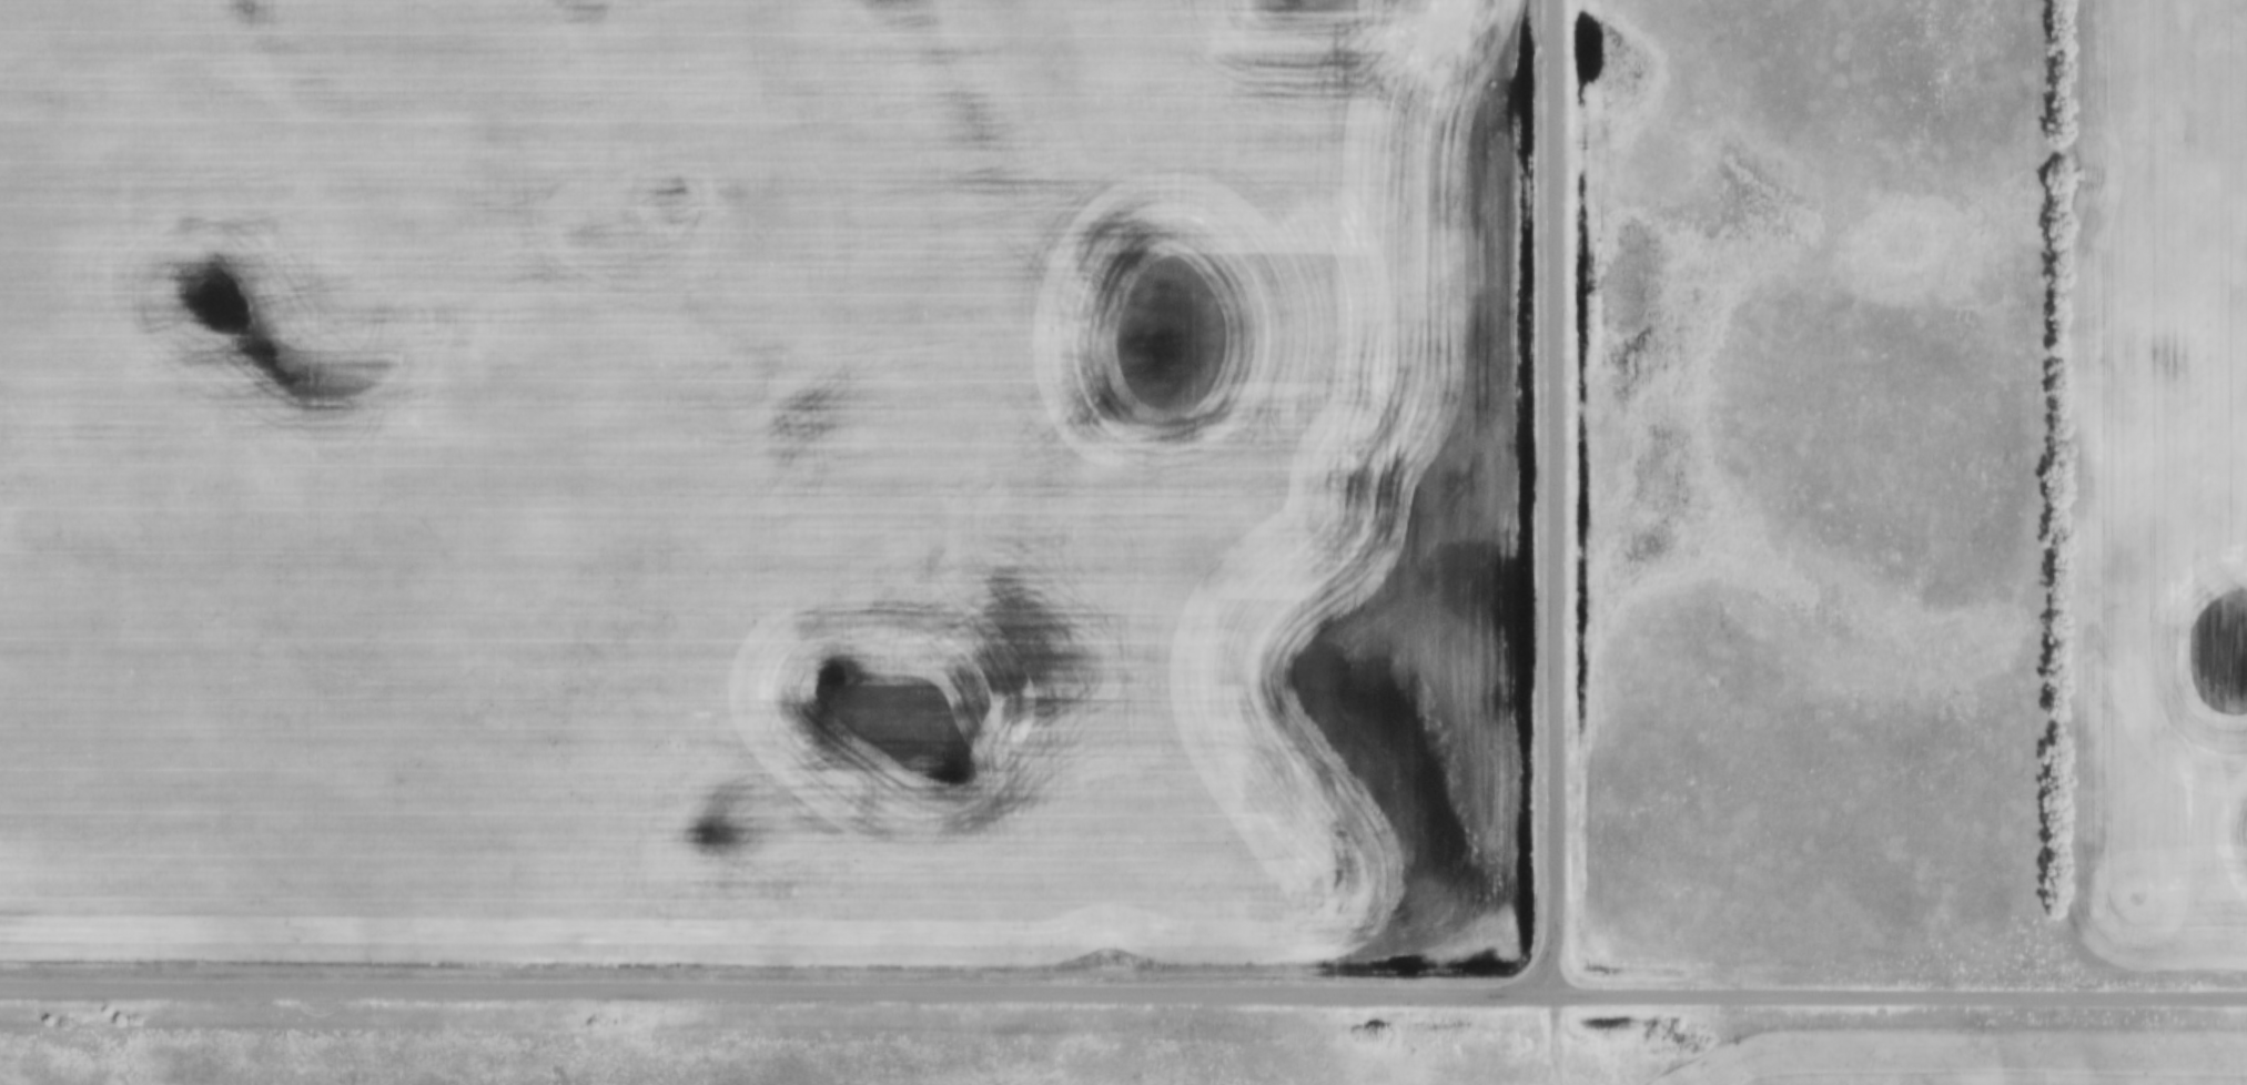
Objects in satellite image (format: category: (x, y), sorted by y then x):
road: (1557, 495)
road: (1123, 990)

